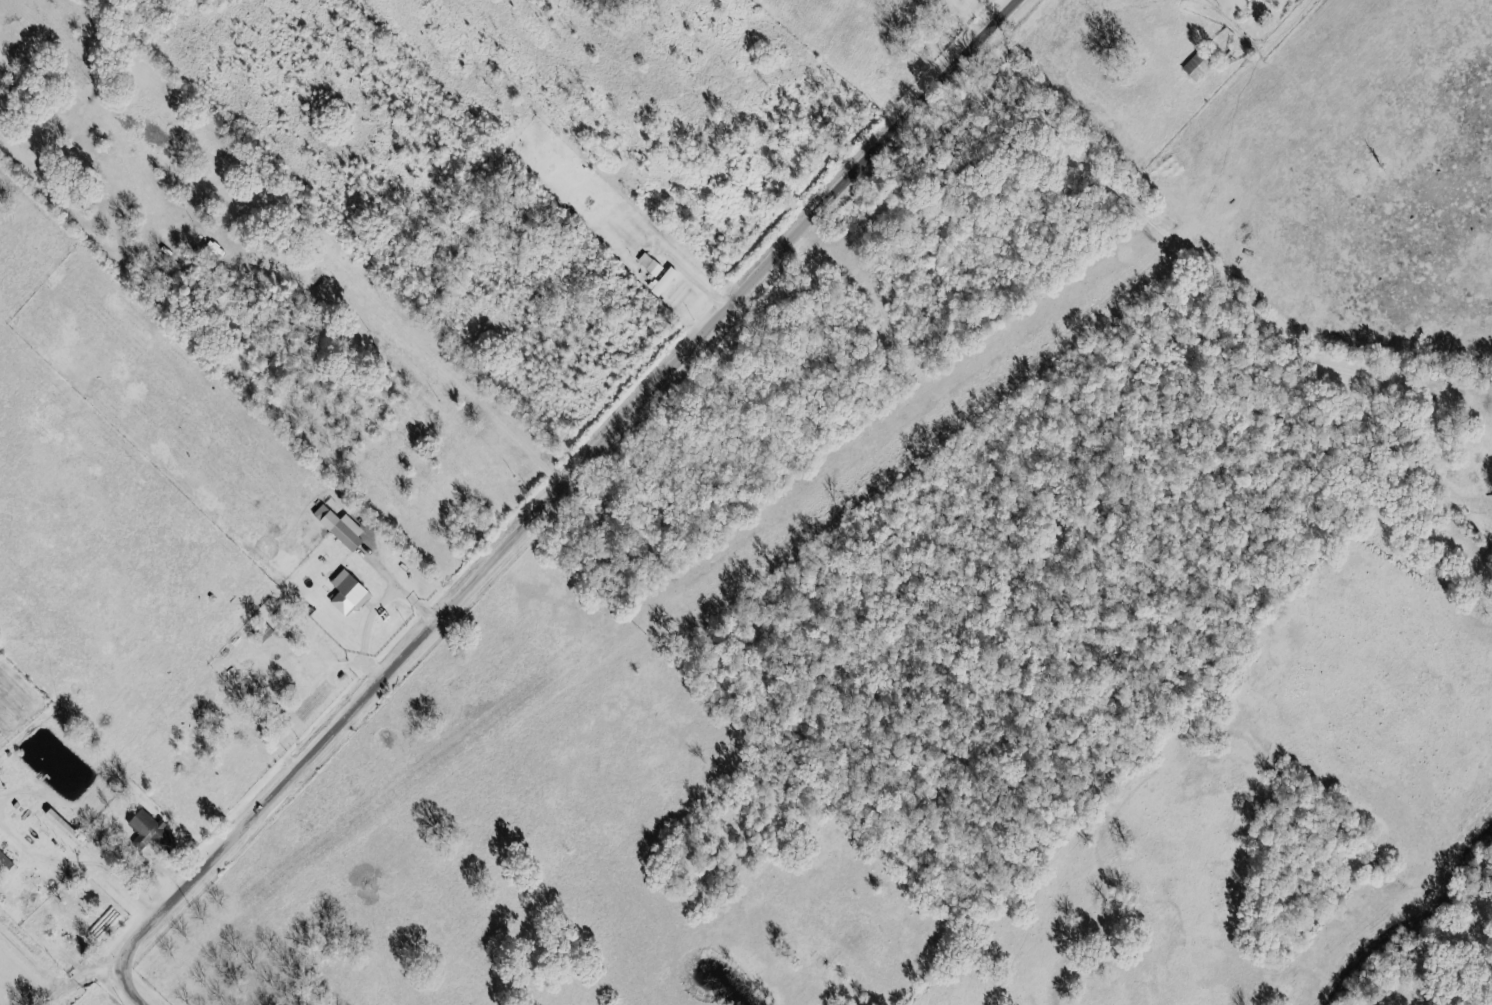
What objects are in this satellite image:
building: (1197, 65)
building: (650, 264)
building: (664, 281)
road: (559, 495)
building: (340, 527)
building: (348, 593)
building: (64, 826)
building: (150, 829)
river: (1414, 916)
road: (91, 976)

